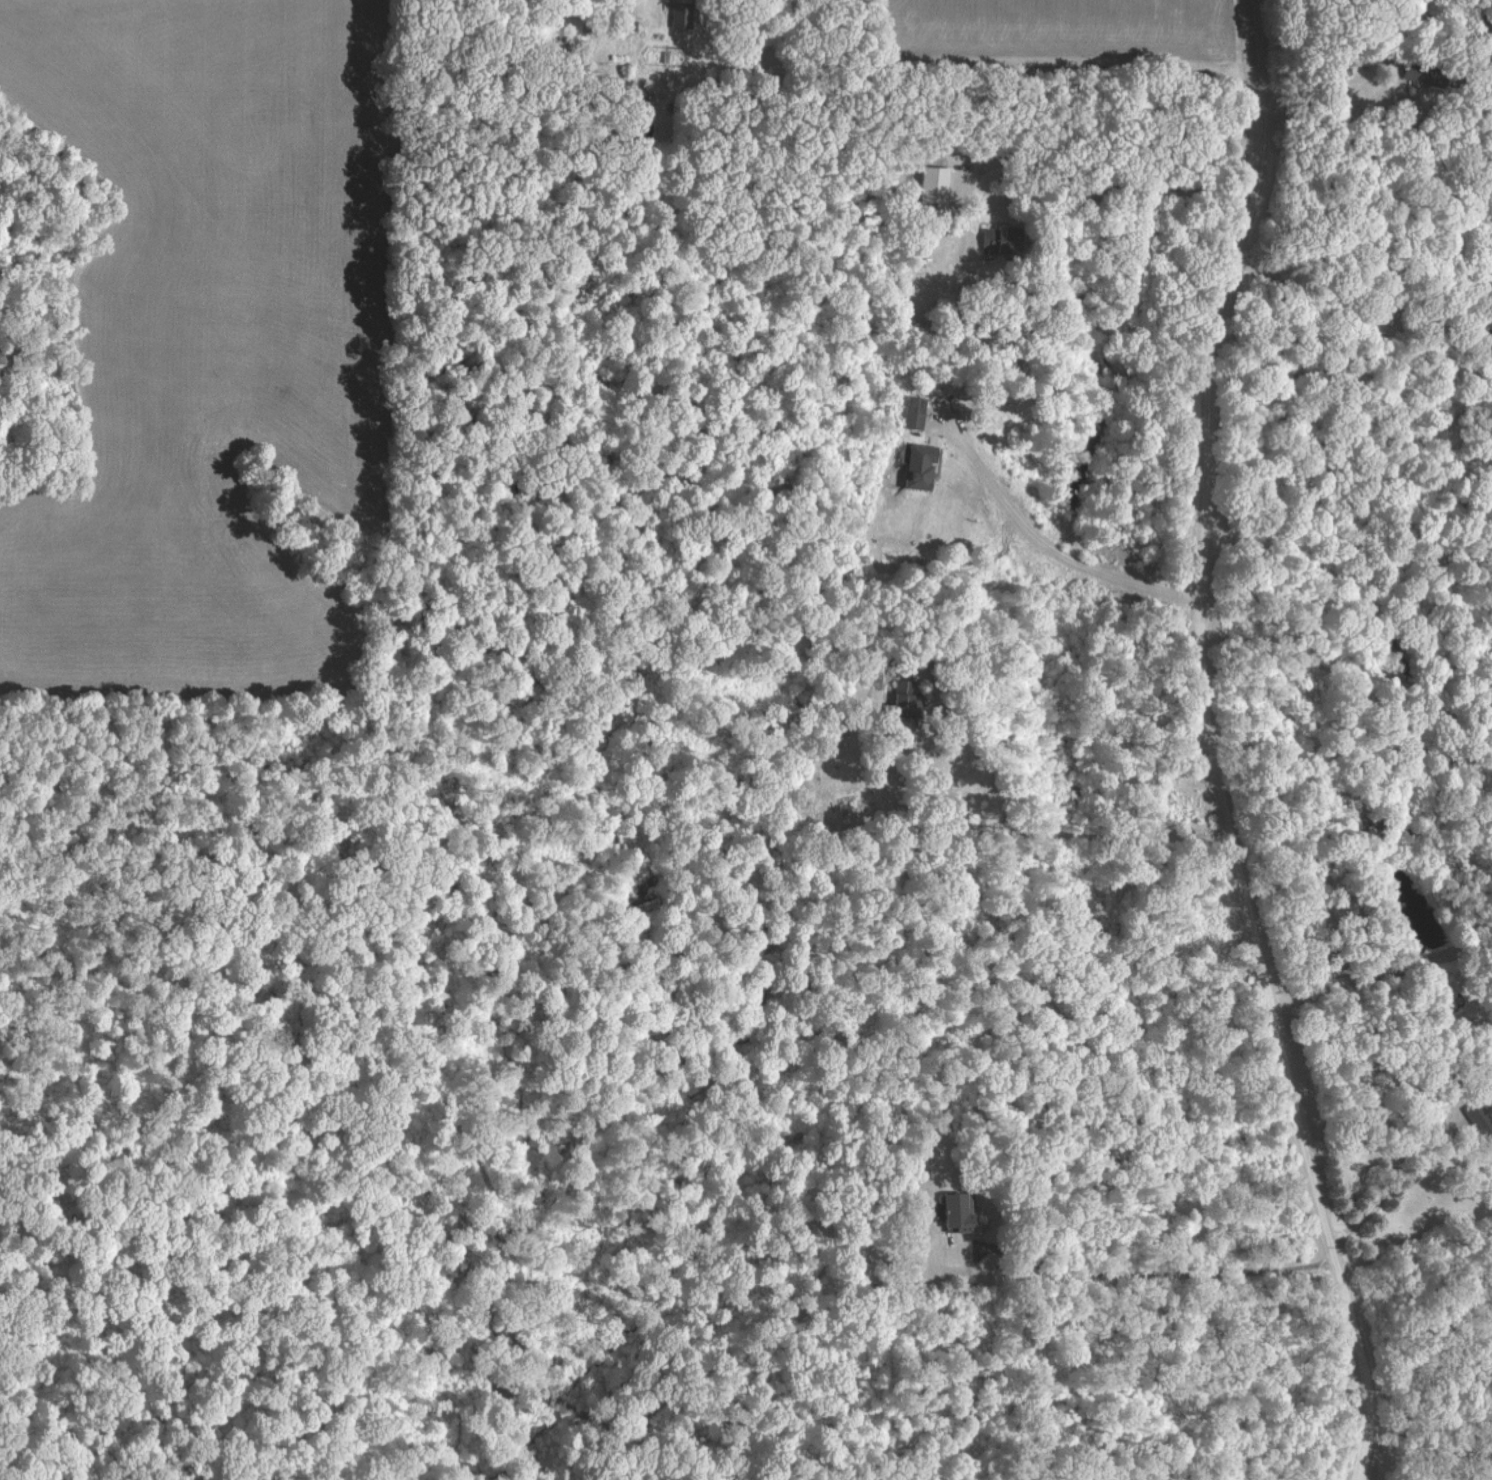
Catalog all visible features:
road: (953, 66)
road: (1344, 122)
road: (1079, 183)
road: (1044, 545)
road: (1209, 747)
road: (972, 834)
road: (1414, 1148)
building: (956, 1209)
road: (1147, 1275)

